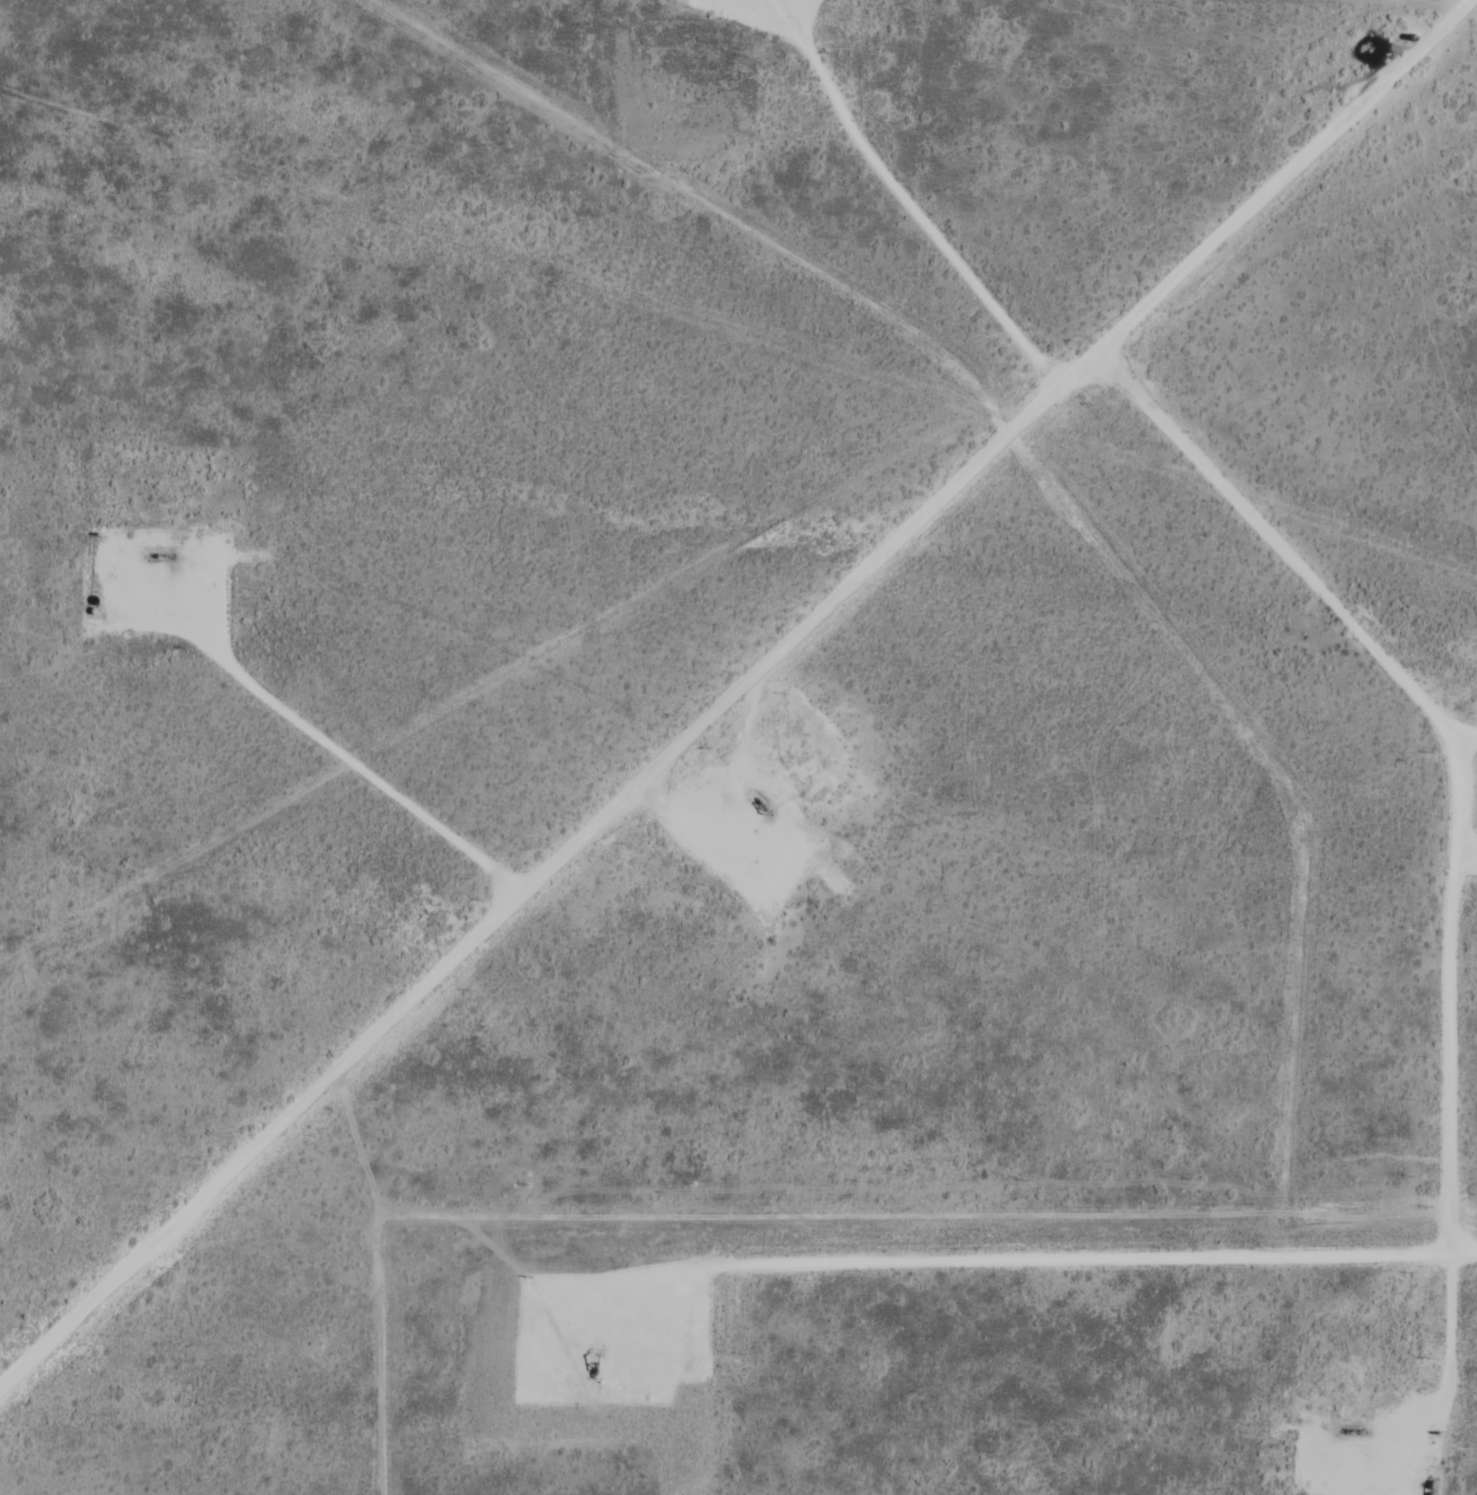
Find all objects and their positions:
road: (910, 199)
petroleum well: (158, 548)
road: (733, 696)
road: (1468, 734)
road: (374, 773)
petroleum well: (759, 798)
road: (1467, 853)
road: (1456, 856)
road: (990, 1261)
petroleum well: (596, 1355)

